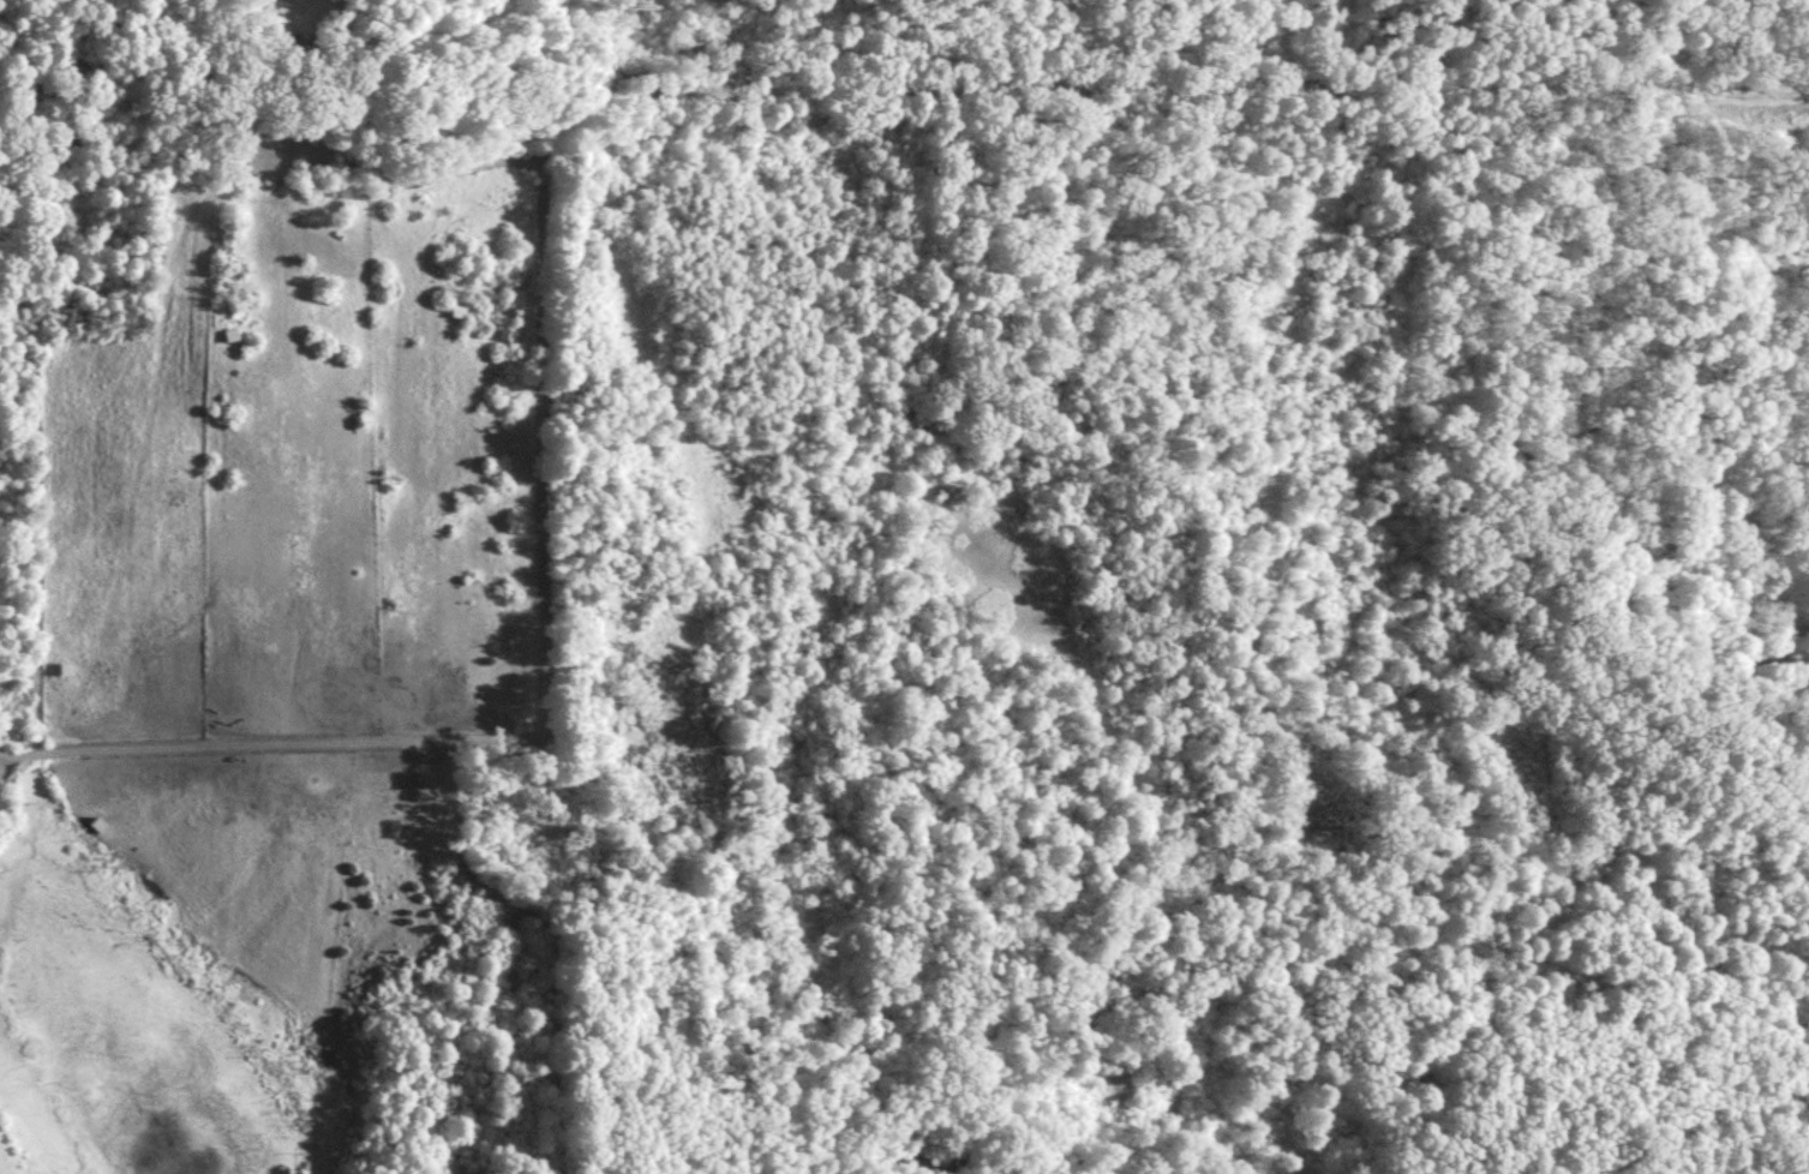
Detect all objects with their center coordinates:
road: (968, 82)
building: (457, 312)

